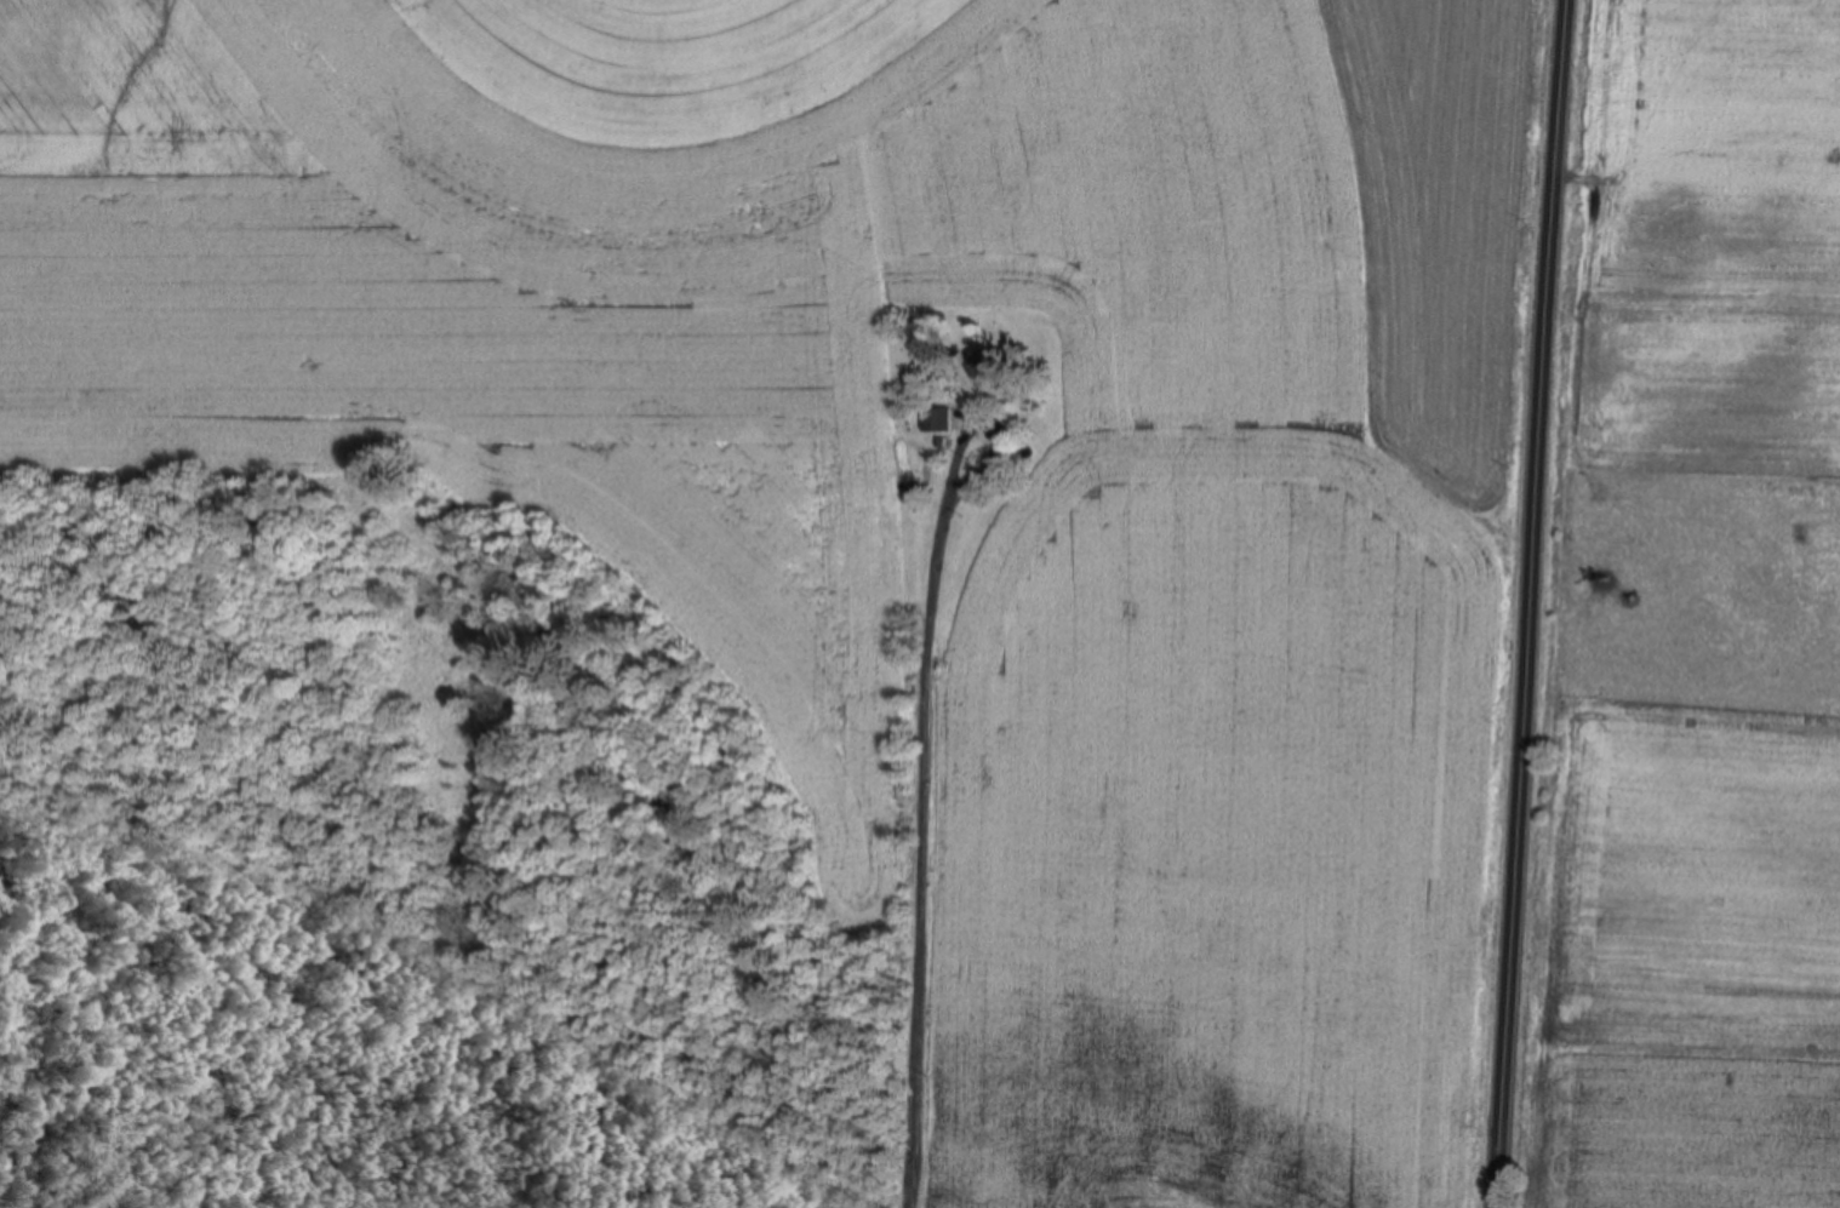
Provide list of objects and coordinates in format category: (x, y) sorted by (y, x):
building: (988, 360)
building: (936, 416)
road: (1524, 603)
road: (909, 876)

